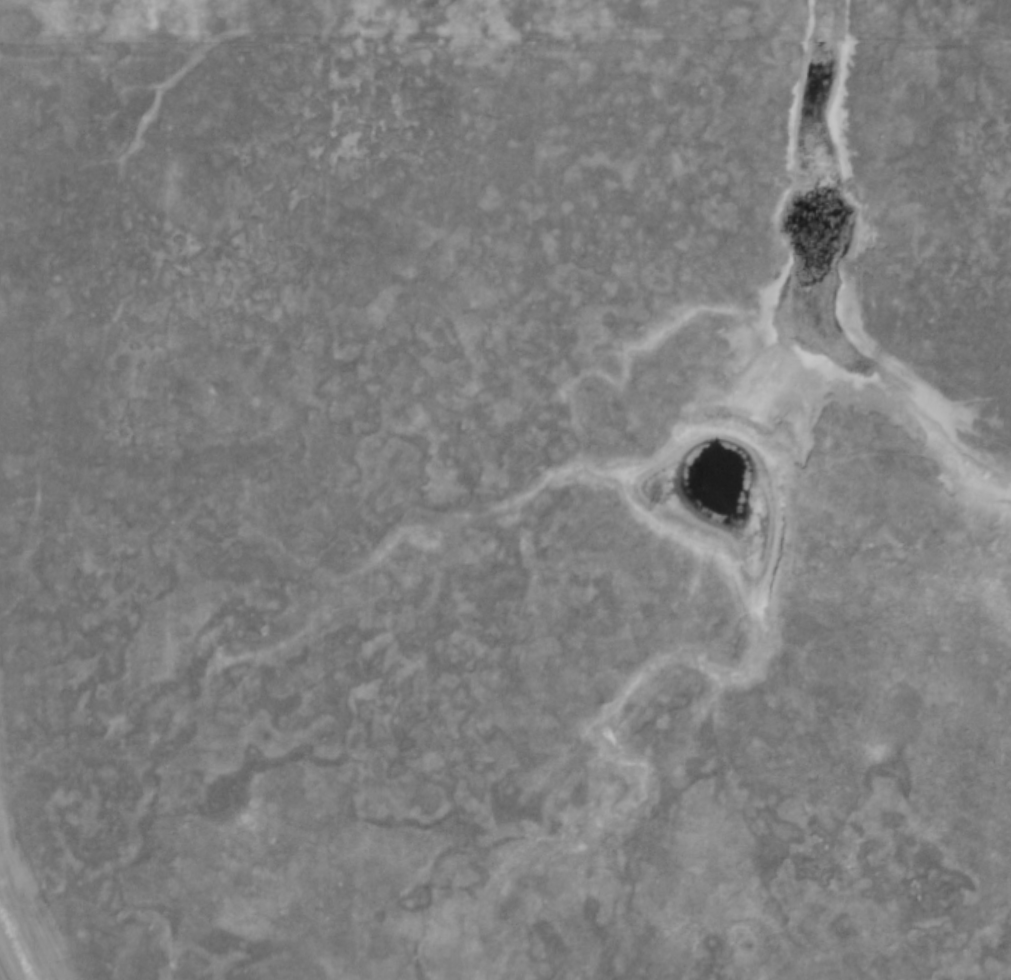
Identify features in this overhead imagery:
road: (5, 970)

